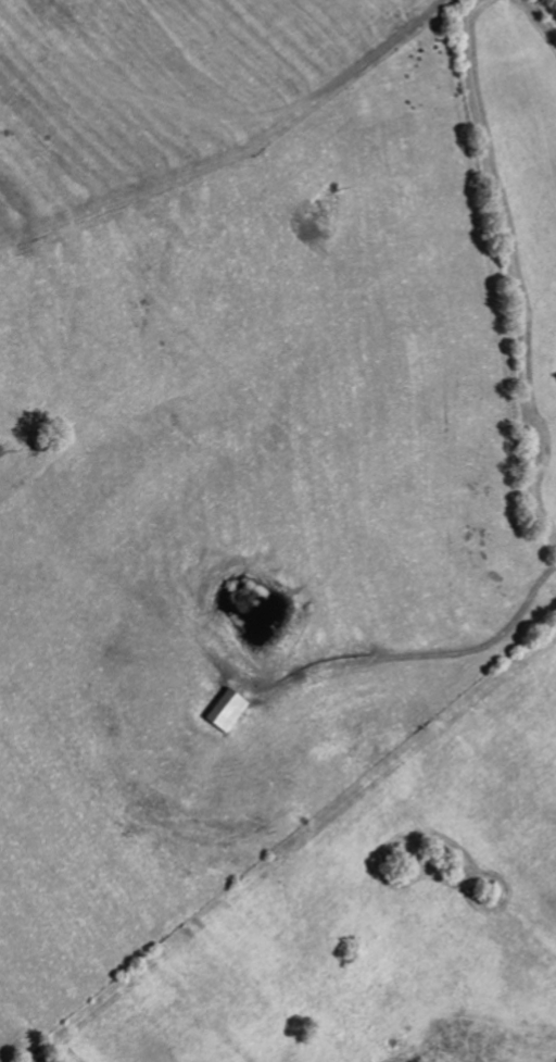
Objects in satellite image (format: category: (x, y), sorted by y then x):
road: (551, 5)
building: (226, 711)

